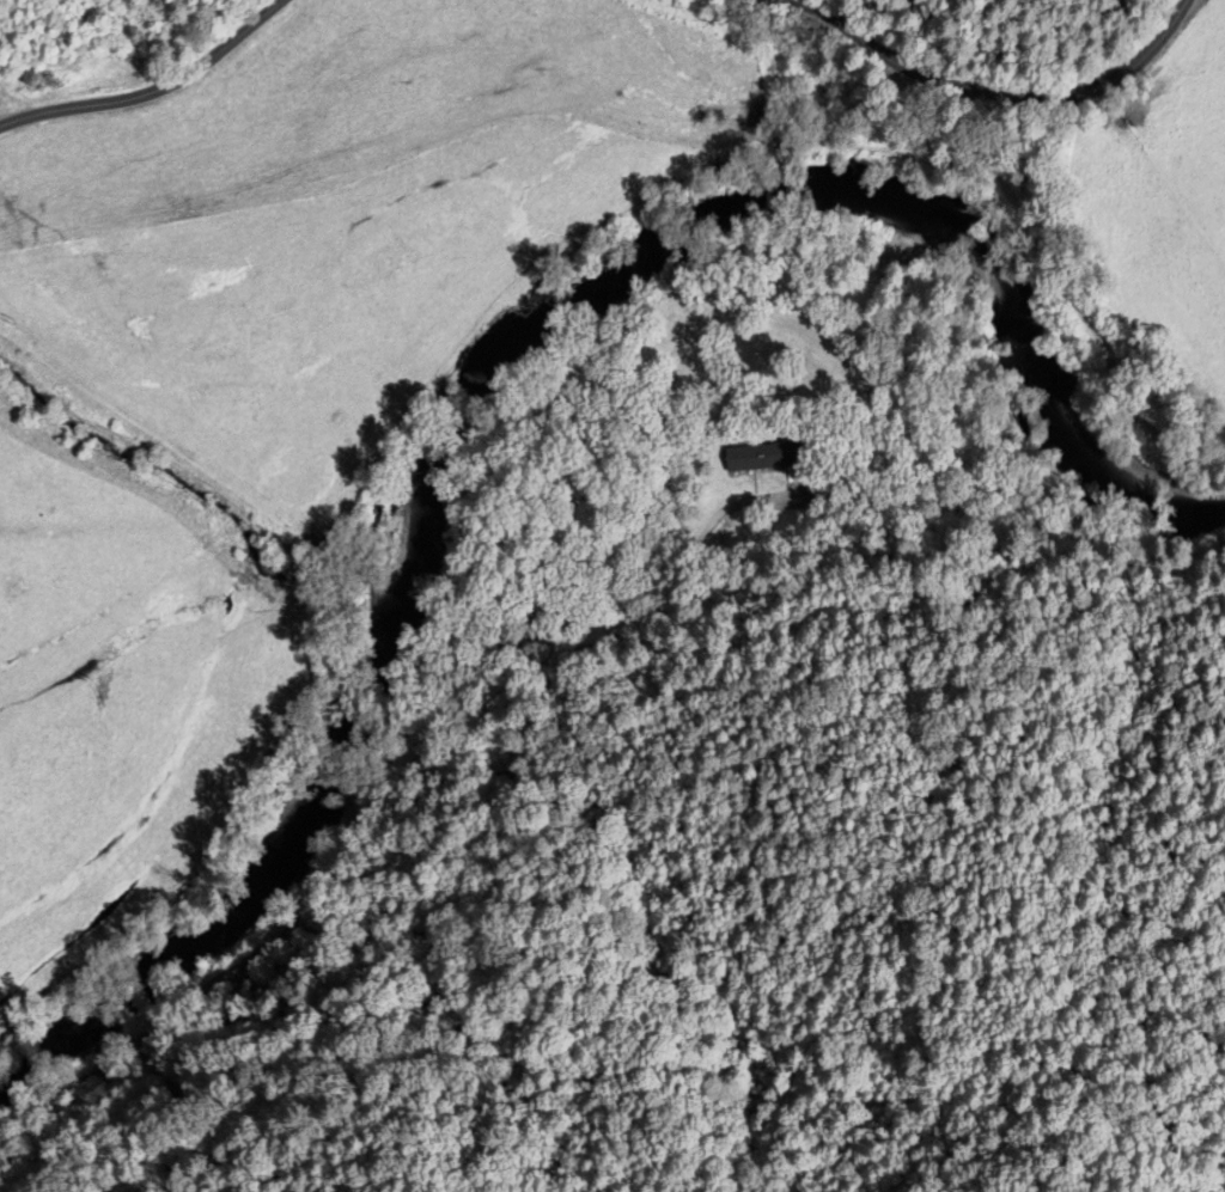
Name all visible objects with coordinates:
building: (30, 78)
road: (153, 91)
road: (1000, 93)
river: (505, 362)
building: (762, 457)
building: (496, 626)
road: (376, 794)

